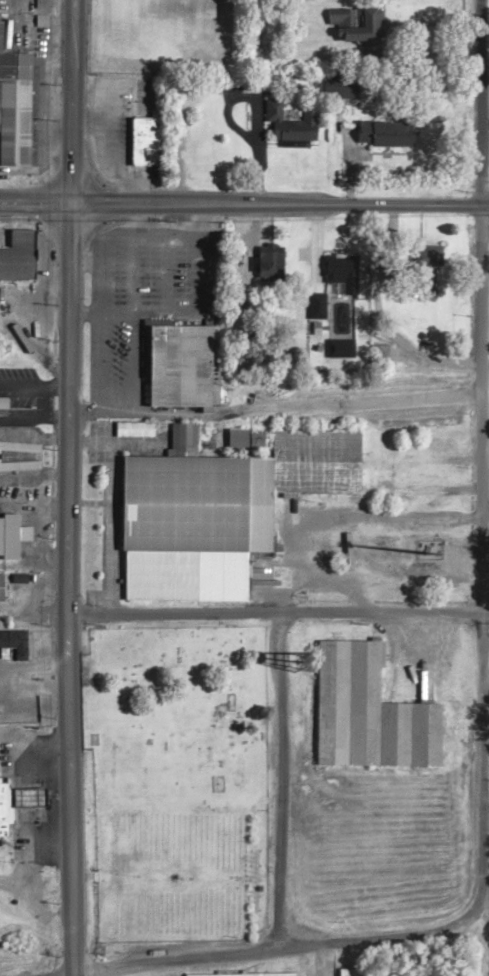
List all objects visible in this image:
building: (362, 26)
building: (345, 90)
building: (17, 106)
building: (297, 127)
building: (389, 138)
building: (149, 145)
road: (35, 200)
road: (279, 201)
building: (22, 251)
building: (273, 266)
building: (347, 275)
building: (345, 352)
building: (185, 360)
building: (5, 406)
road: (478, 453)
building: (21, 460)
road: (64, 487)
building: (226, 506)
building: (13, 540)
road: (244, 611)
building: (17, 638)
building: (372, 706)
building: (37, 793)
building: (8, 805)
road: (251, 947)
building: (344, 969)
building: (244, 970)
building: (337, 970)

